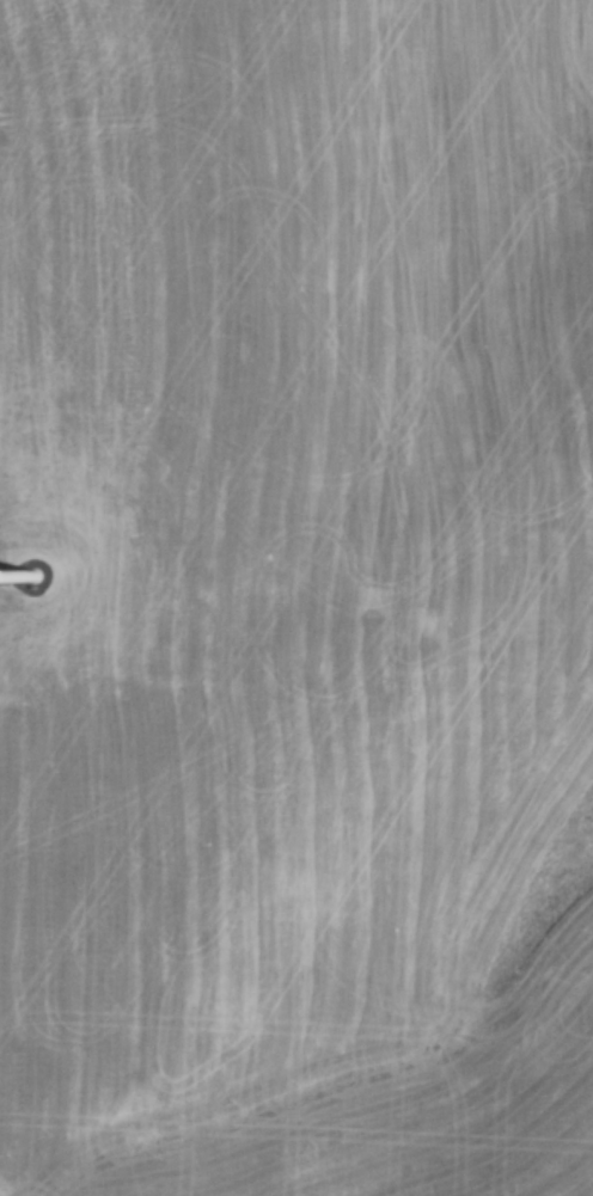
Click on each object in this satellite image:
wind turbine: (31, 595)

